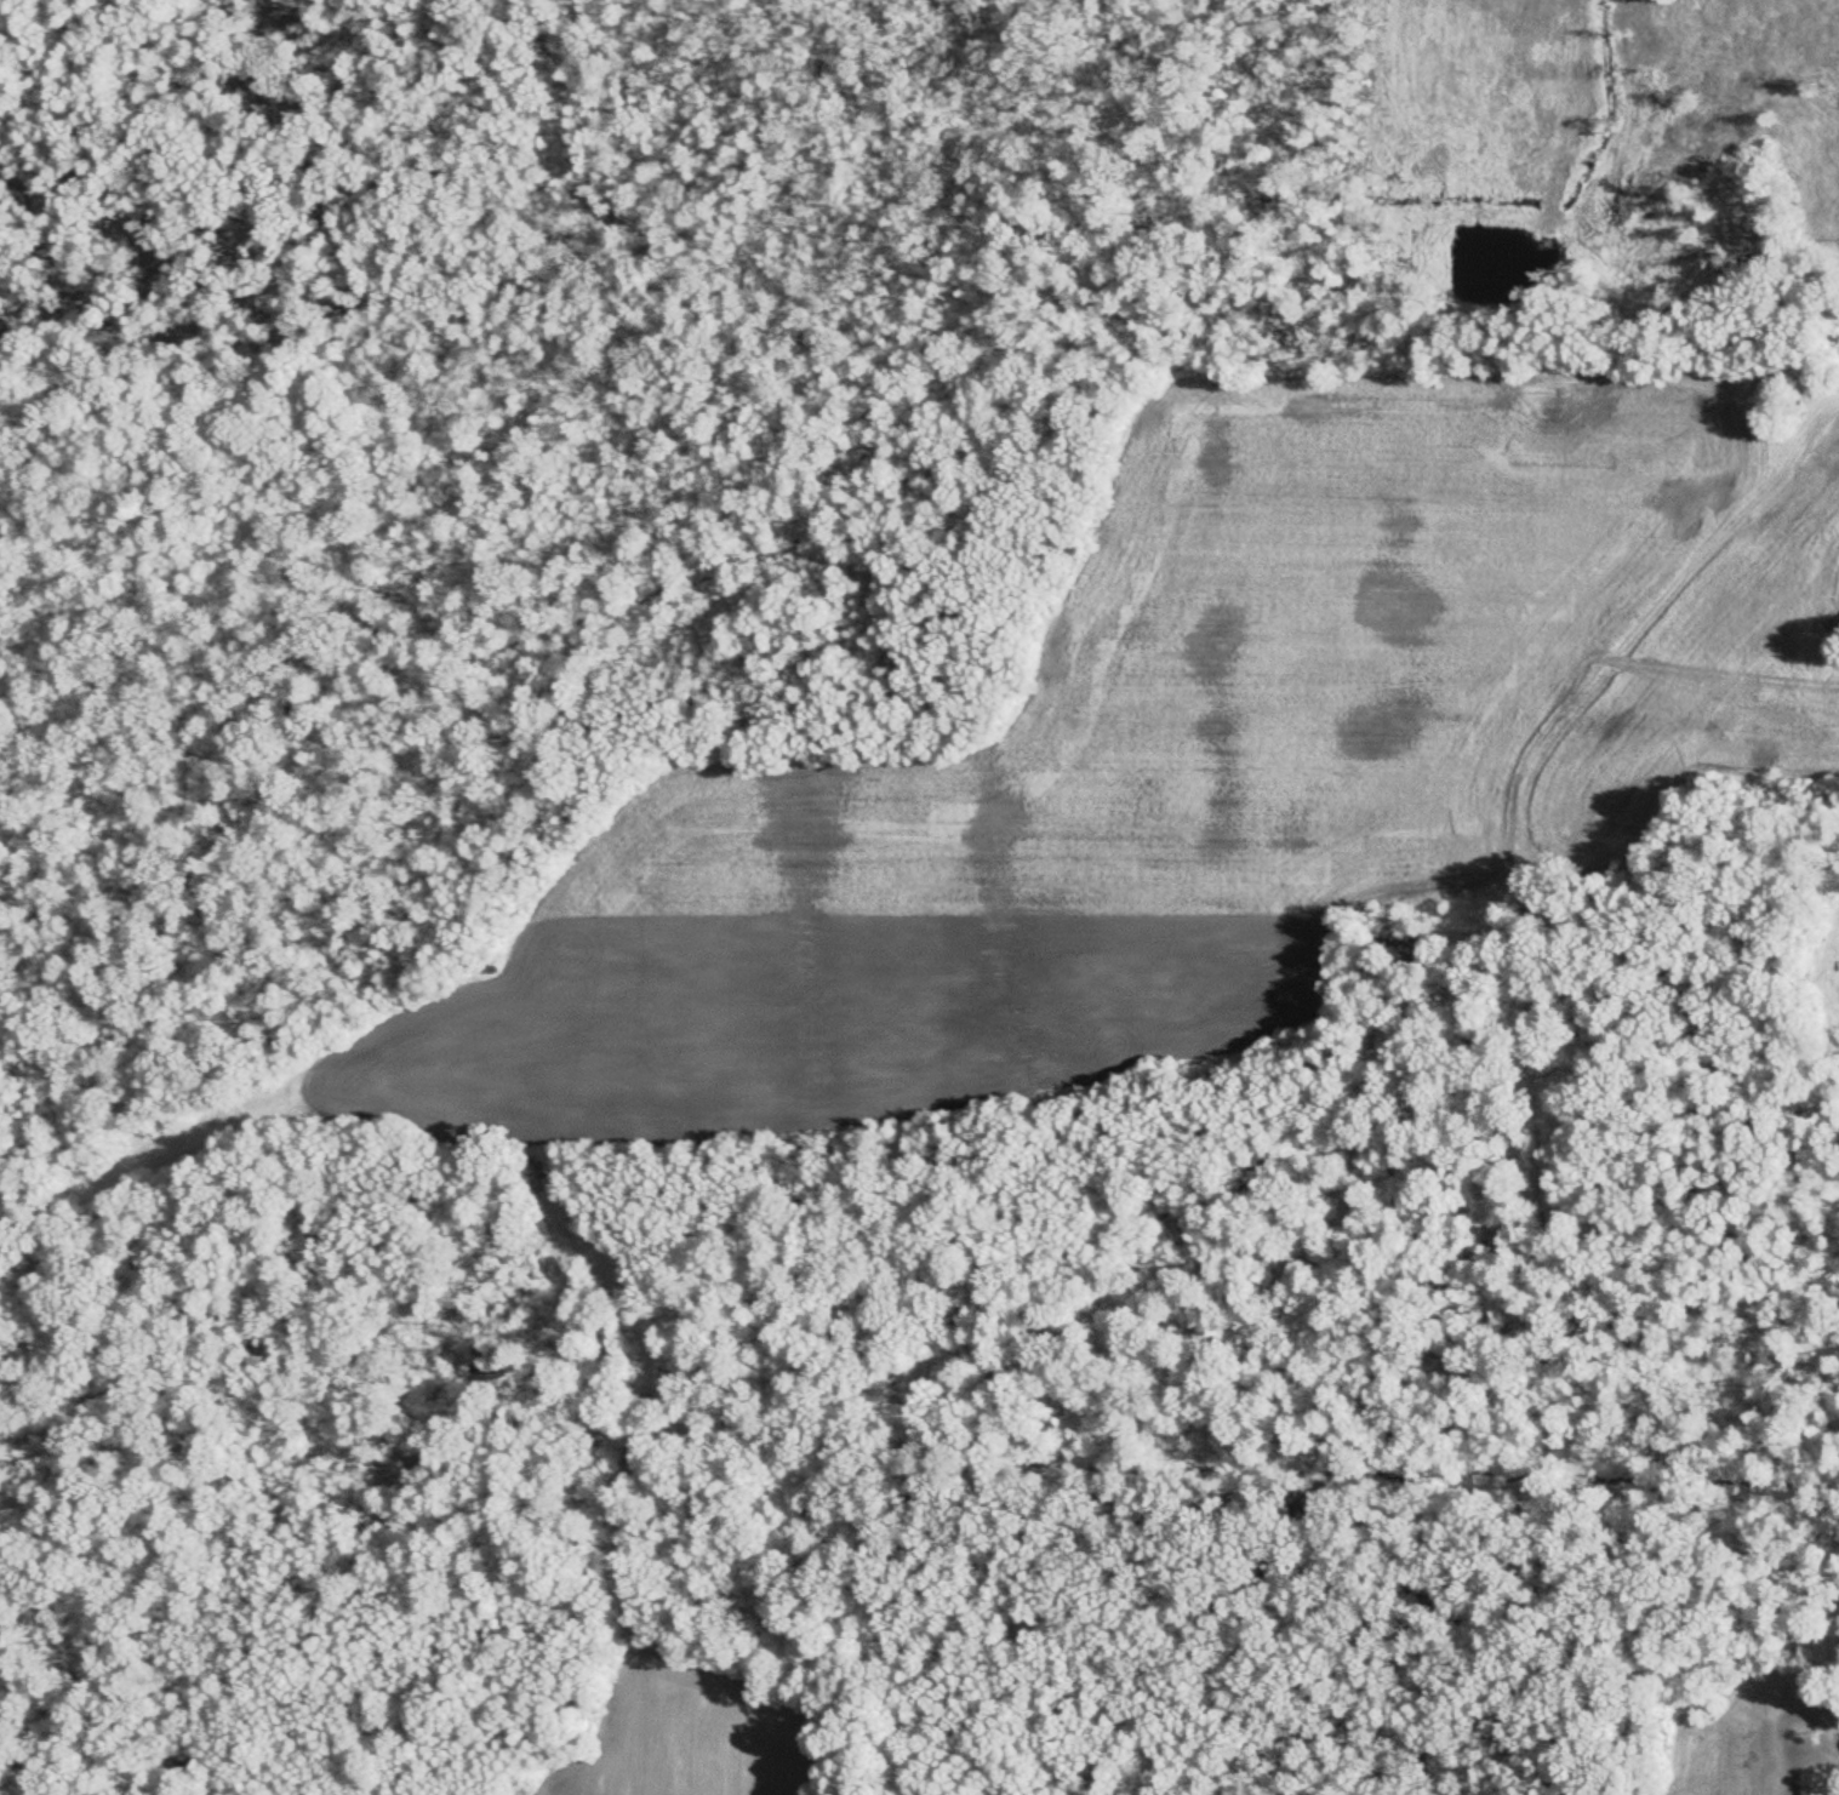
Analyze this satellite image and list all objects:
building: (1816, 1783)

